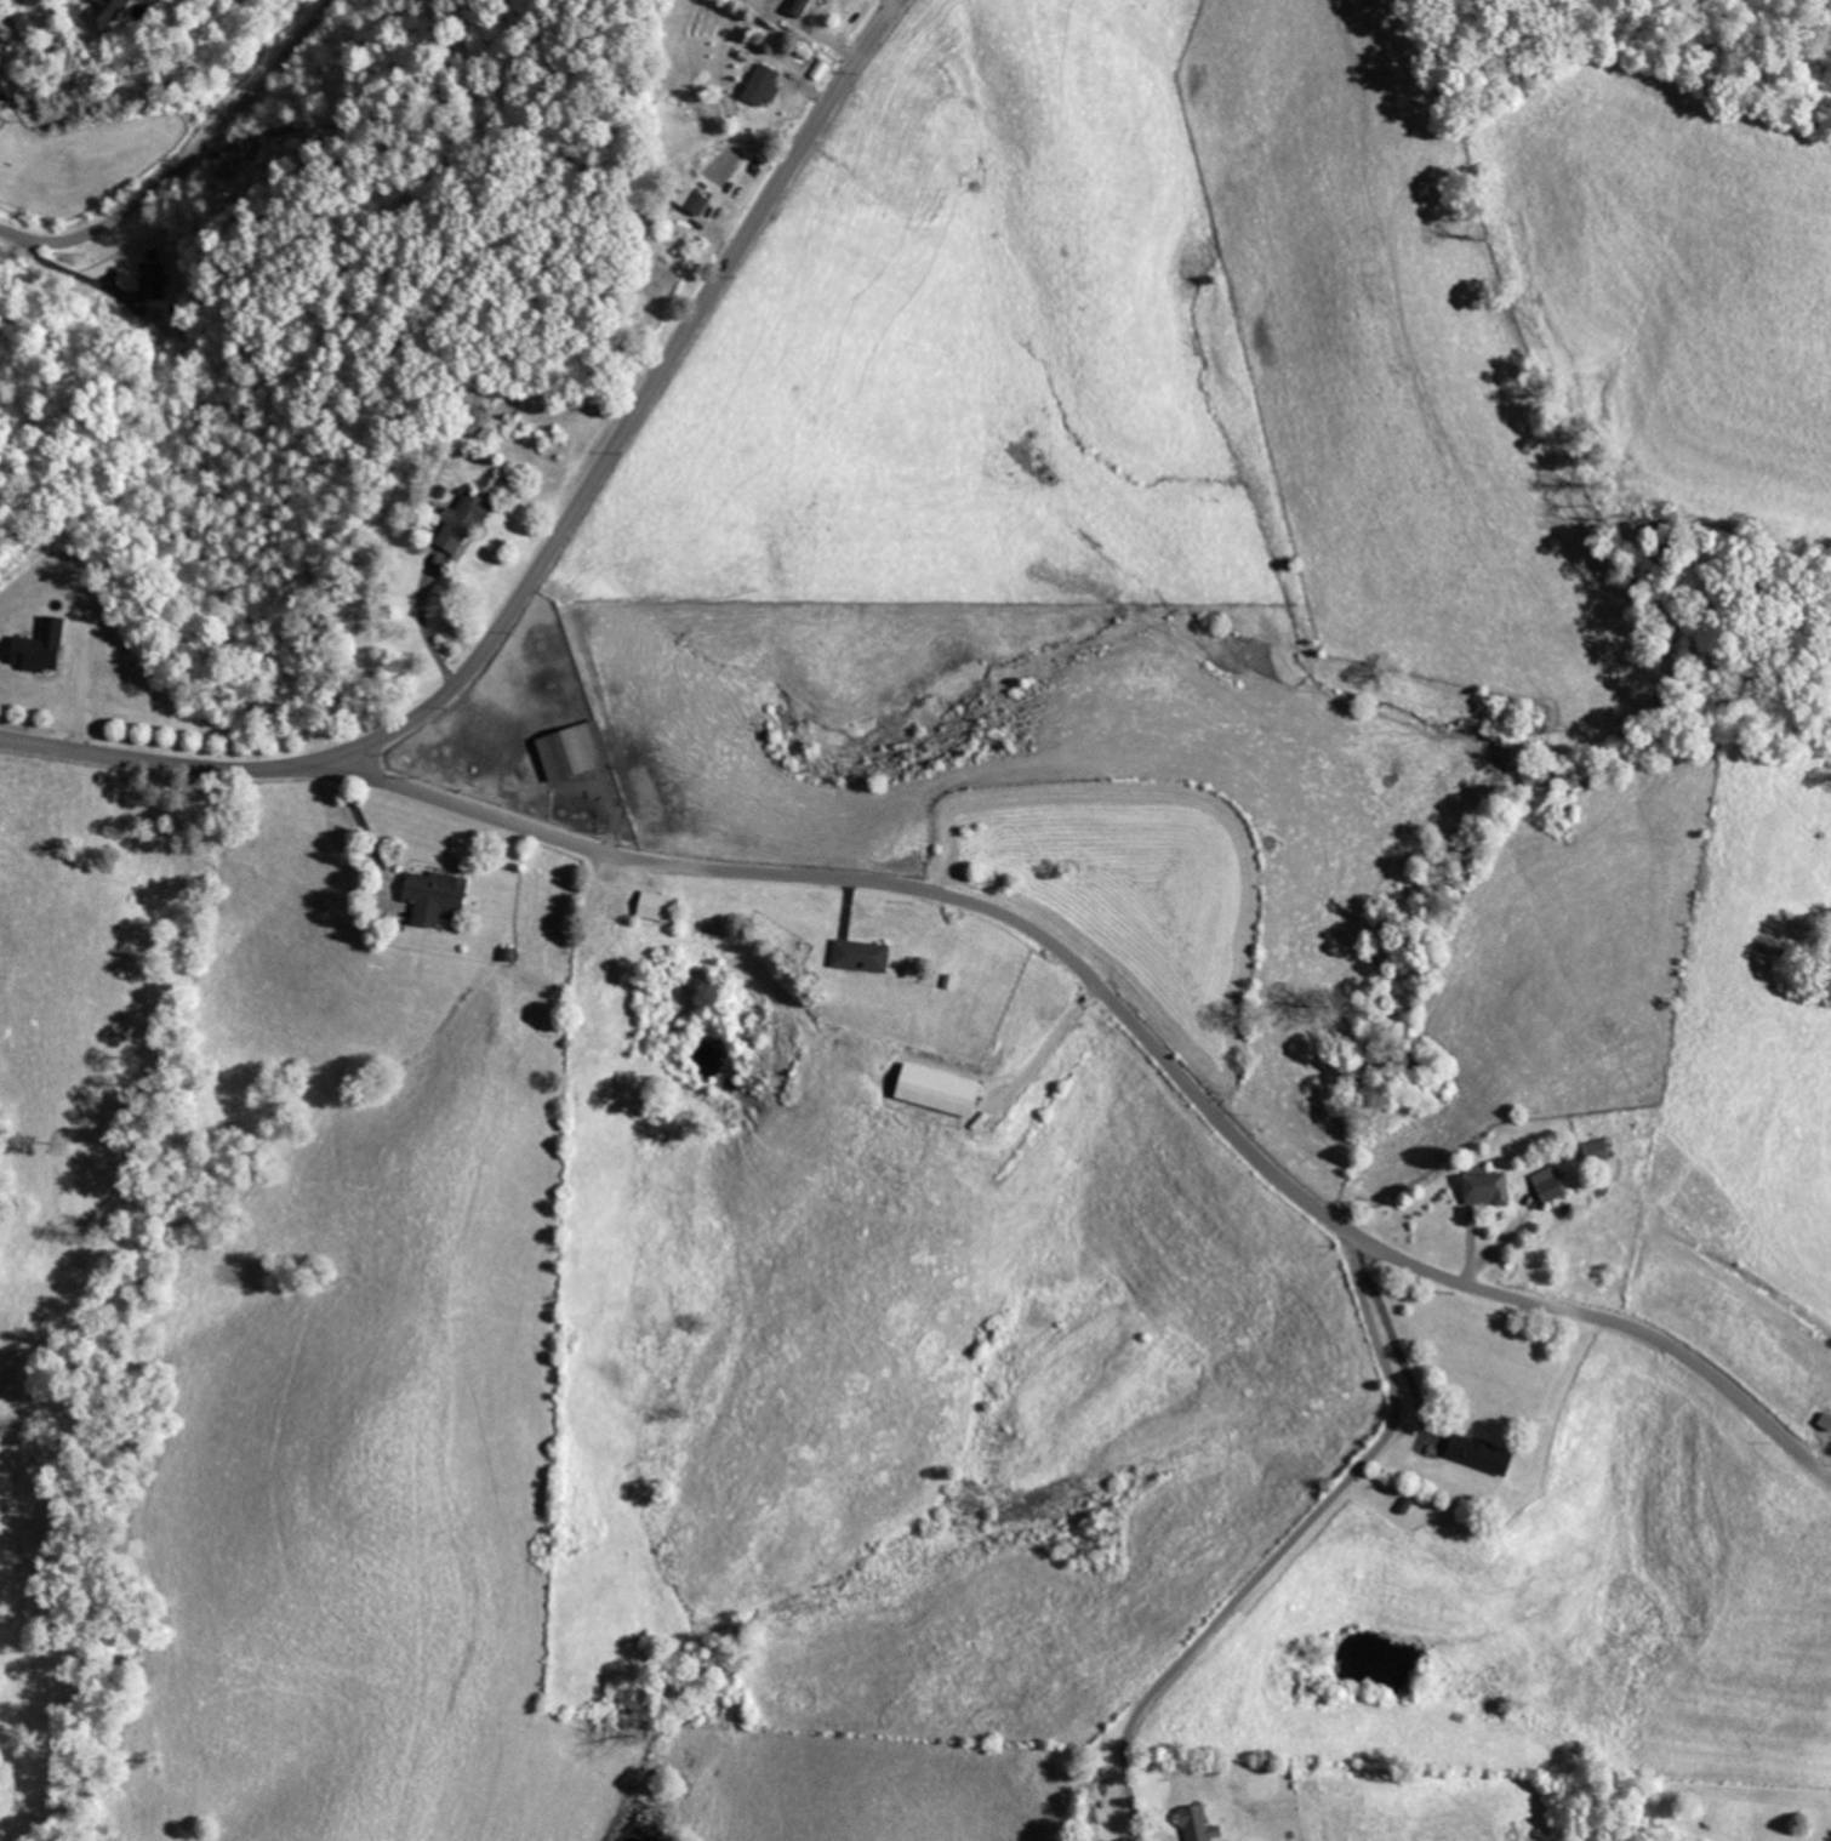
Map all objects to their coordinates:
building: (109, 13)
building: (766, 85)
building: (1, 119)
road: (181, 156)
building: (703, 204)
building: (158, 286)
building: (468, 523)
road: (552, 547)
building: (47, 646)
building: (569, 748)
road: (348, 766)
building: (430, 895)
building: (857, 954)
road: (1143, 1033)
building: (932, 1089)
building: (1592, 1150)
building: (1545, 1184)
building: (1481, 1187)
building: (1475, 1453)
road: (1293, 1541)
building: (1194, 1824)

